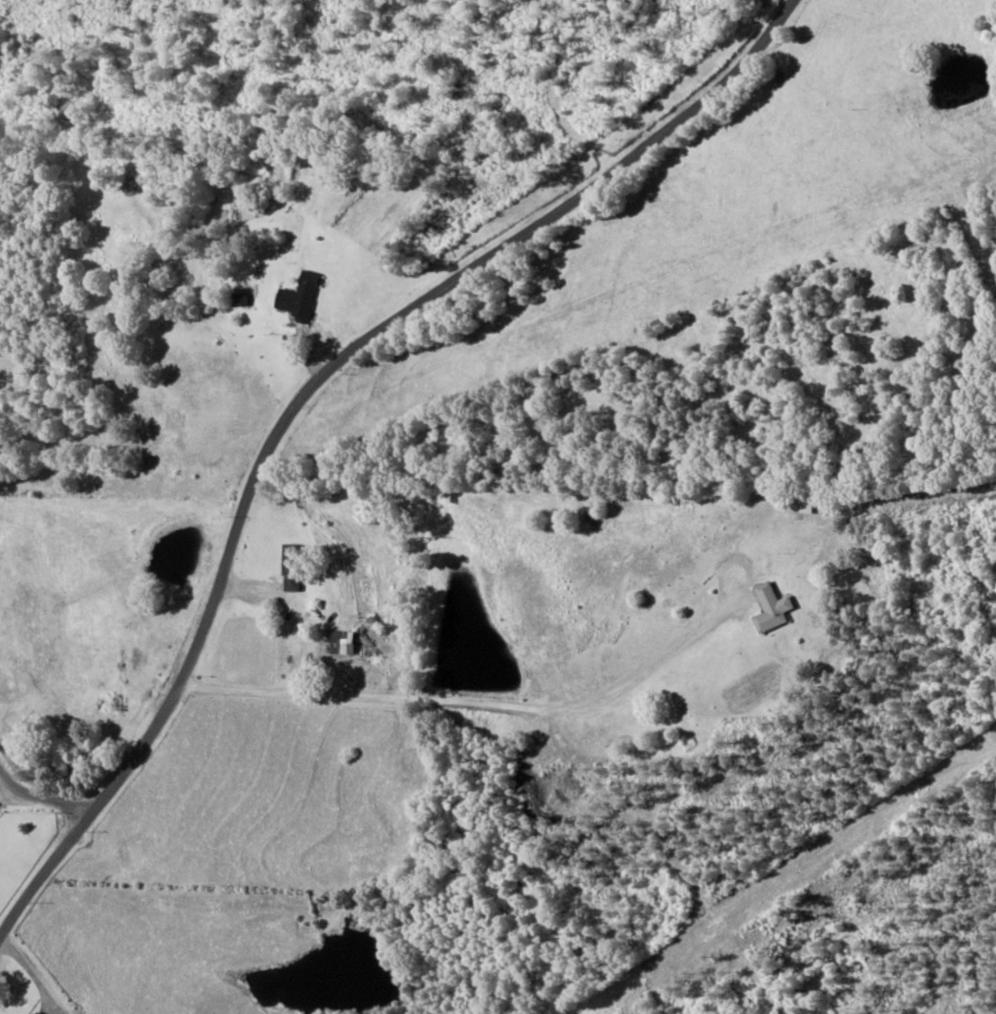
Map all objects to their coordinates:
building: (299, 296)
building: (239, 299)
road: (348, 437)
building: (290, 567)
building: (771, 608)
road: (452, 640)
building: (339, 643)
road: (69, 724)
building: (34, 1012)

